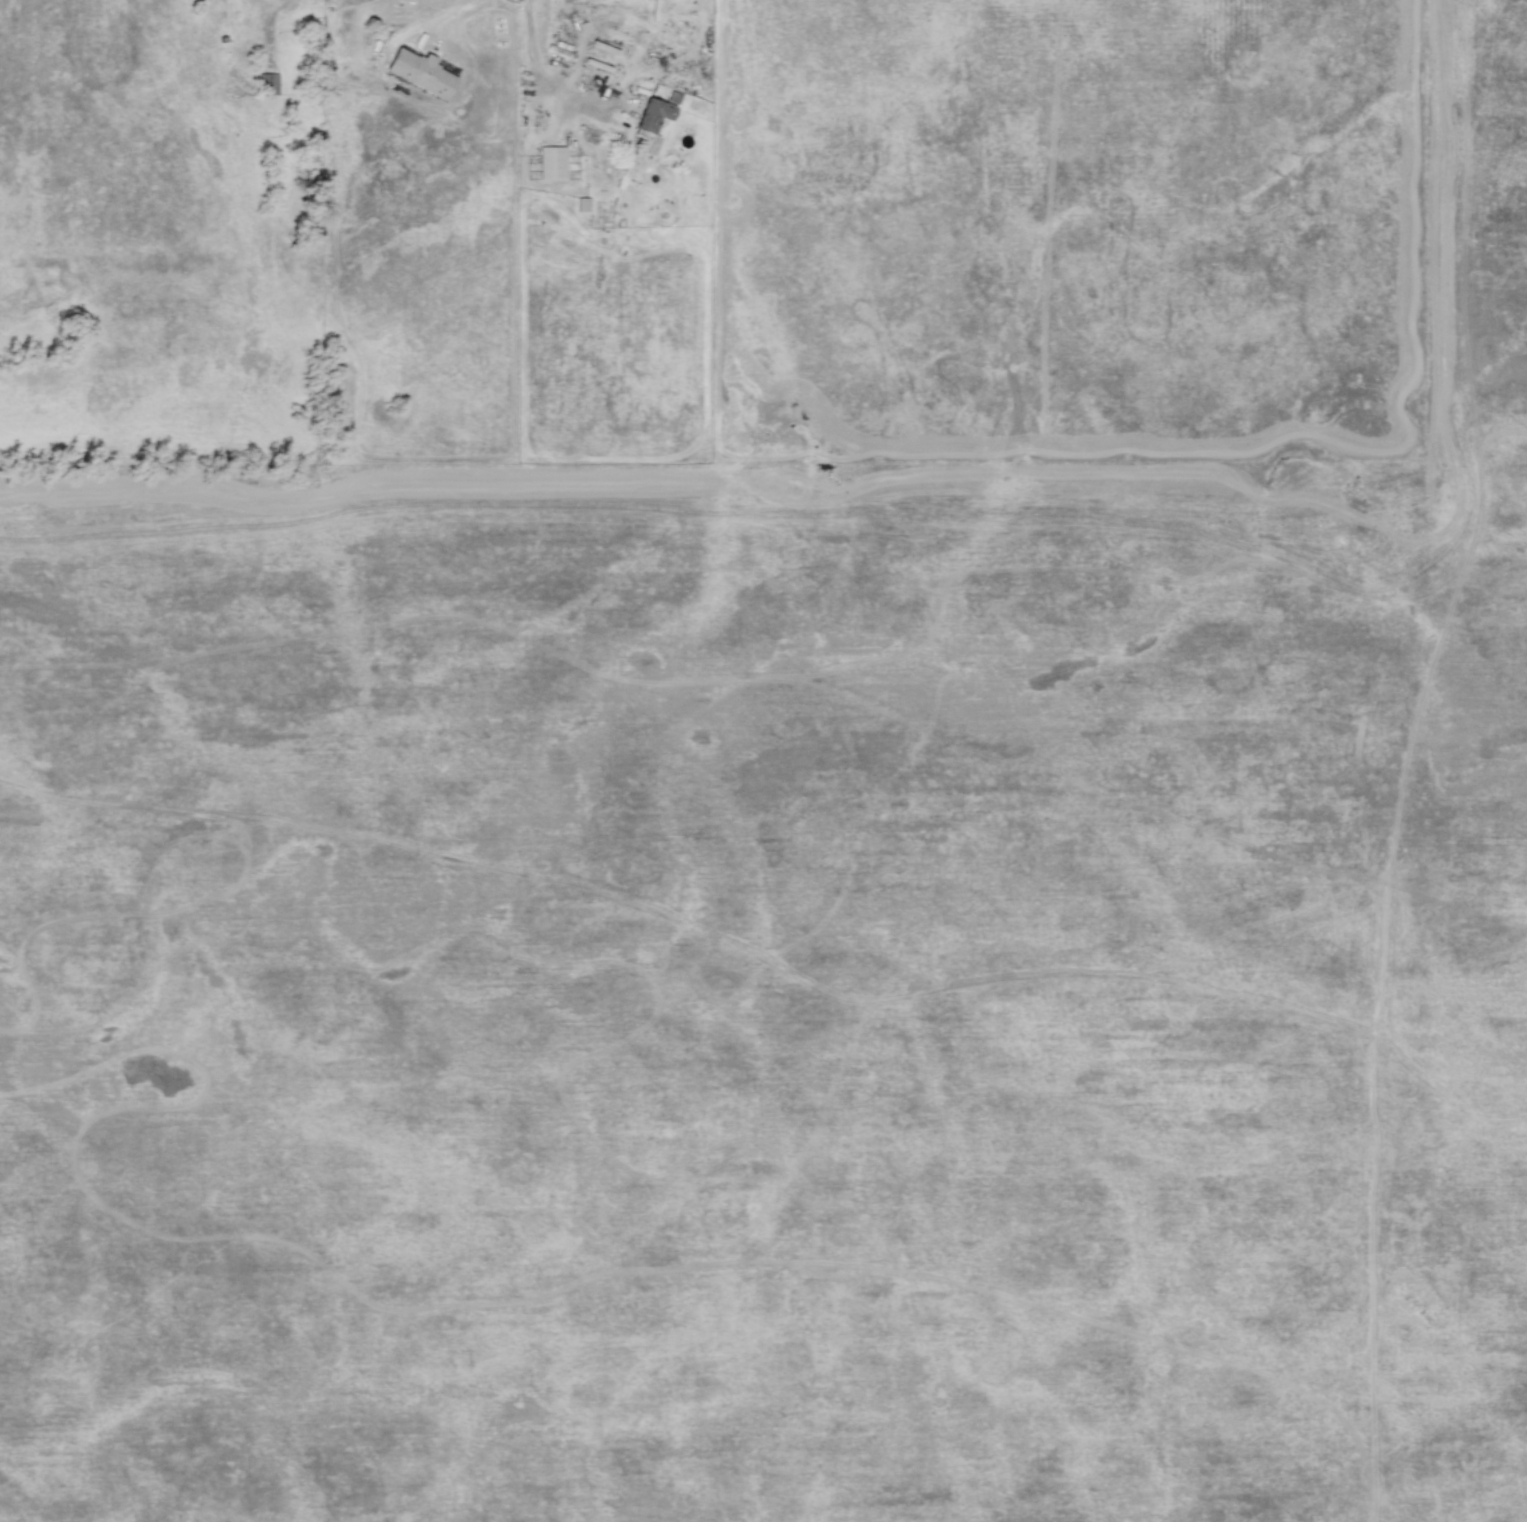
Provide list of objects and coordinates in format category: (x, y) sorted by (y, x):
road: (437, 17)
building: (419, 72)
road: (538, 77)
building: (267, 83)
building: (552, 163)

